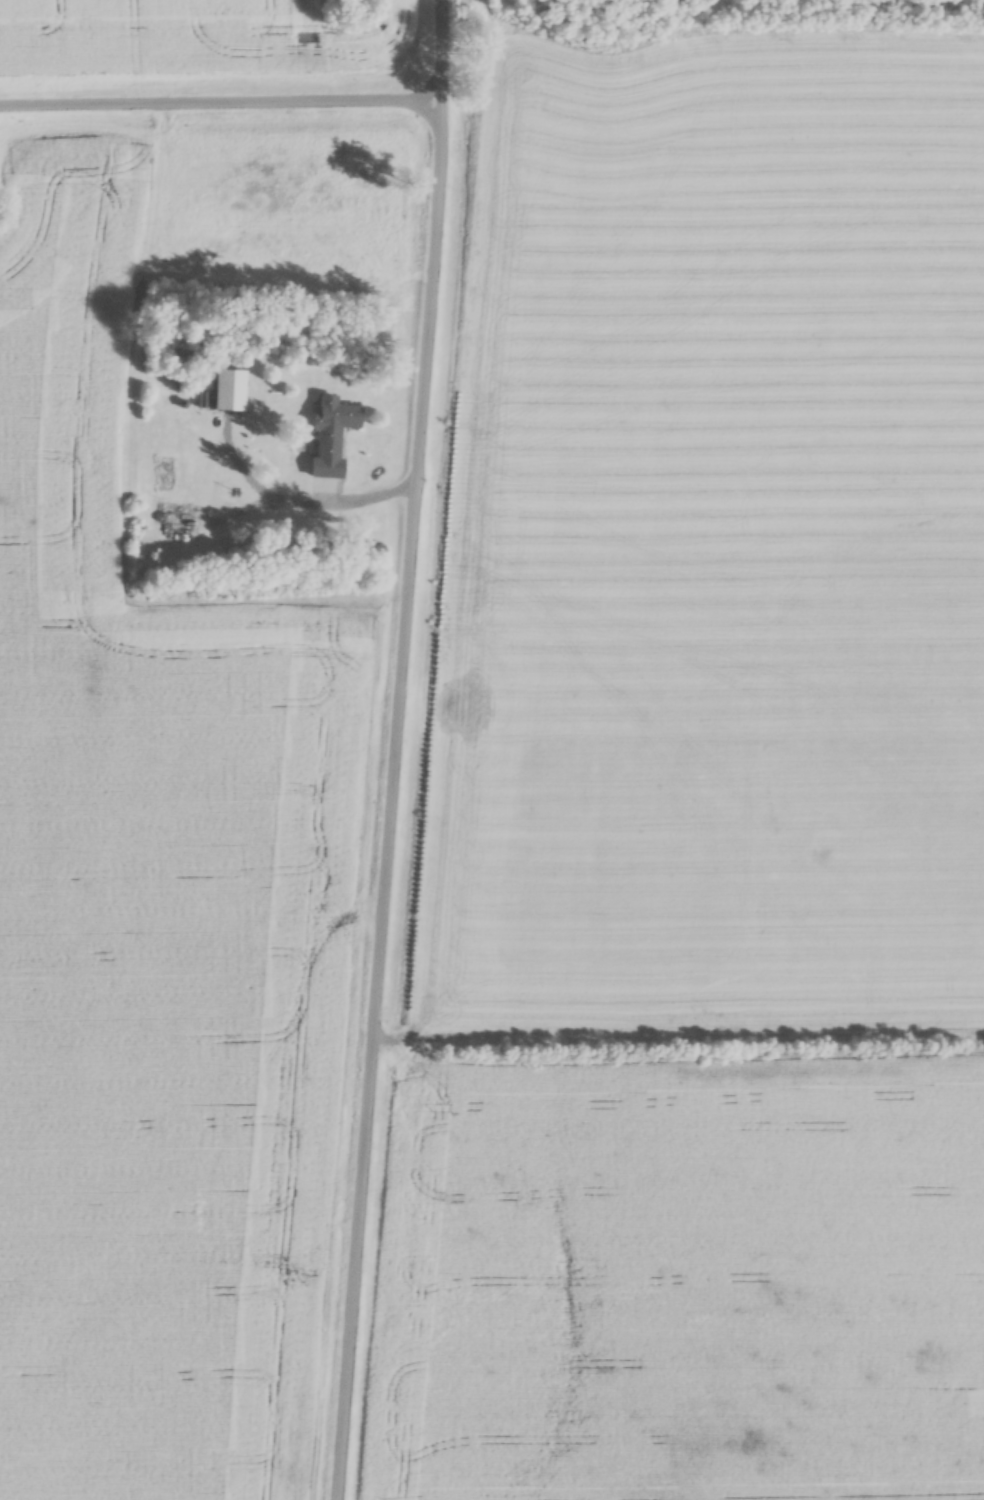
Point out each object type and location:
road: (222, 99)
building: (229, 391)
building: (332, 437)
road: (310, 498)
building: (177, 521)
road: (396, 750)

